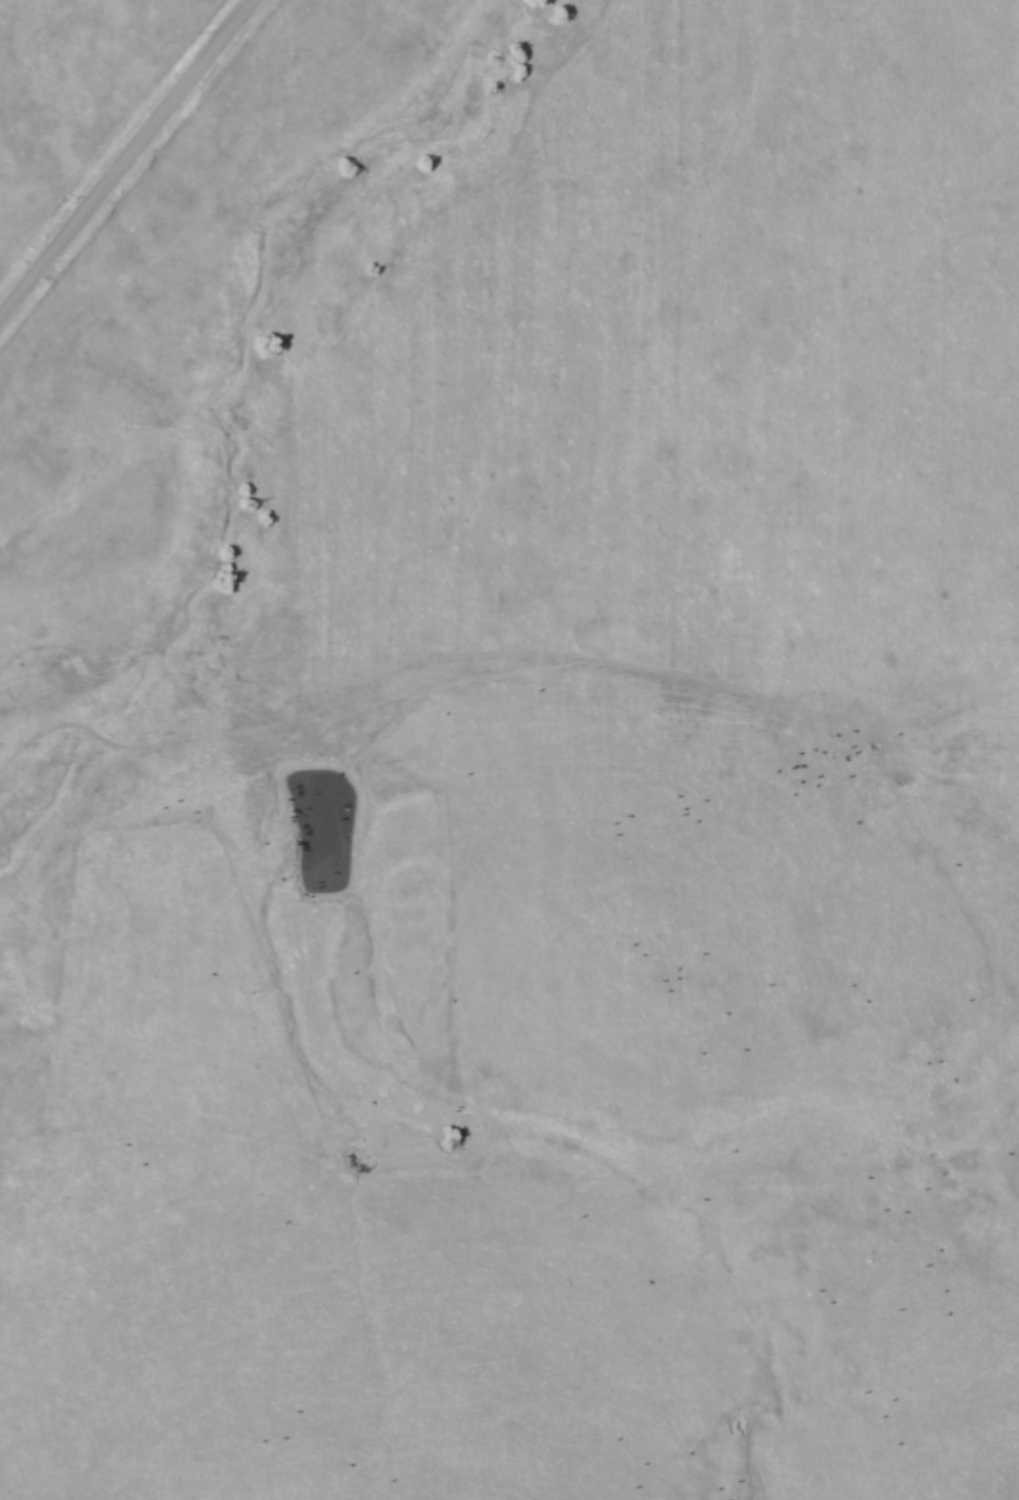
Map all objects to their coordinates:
road: (126, 157)

